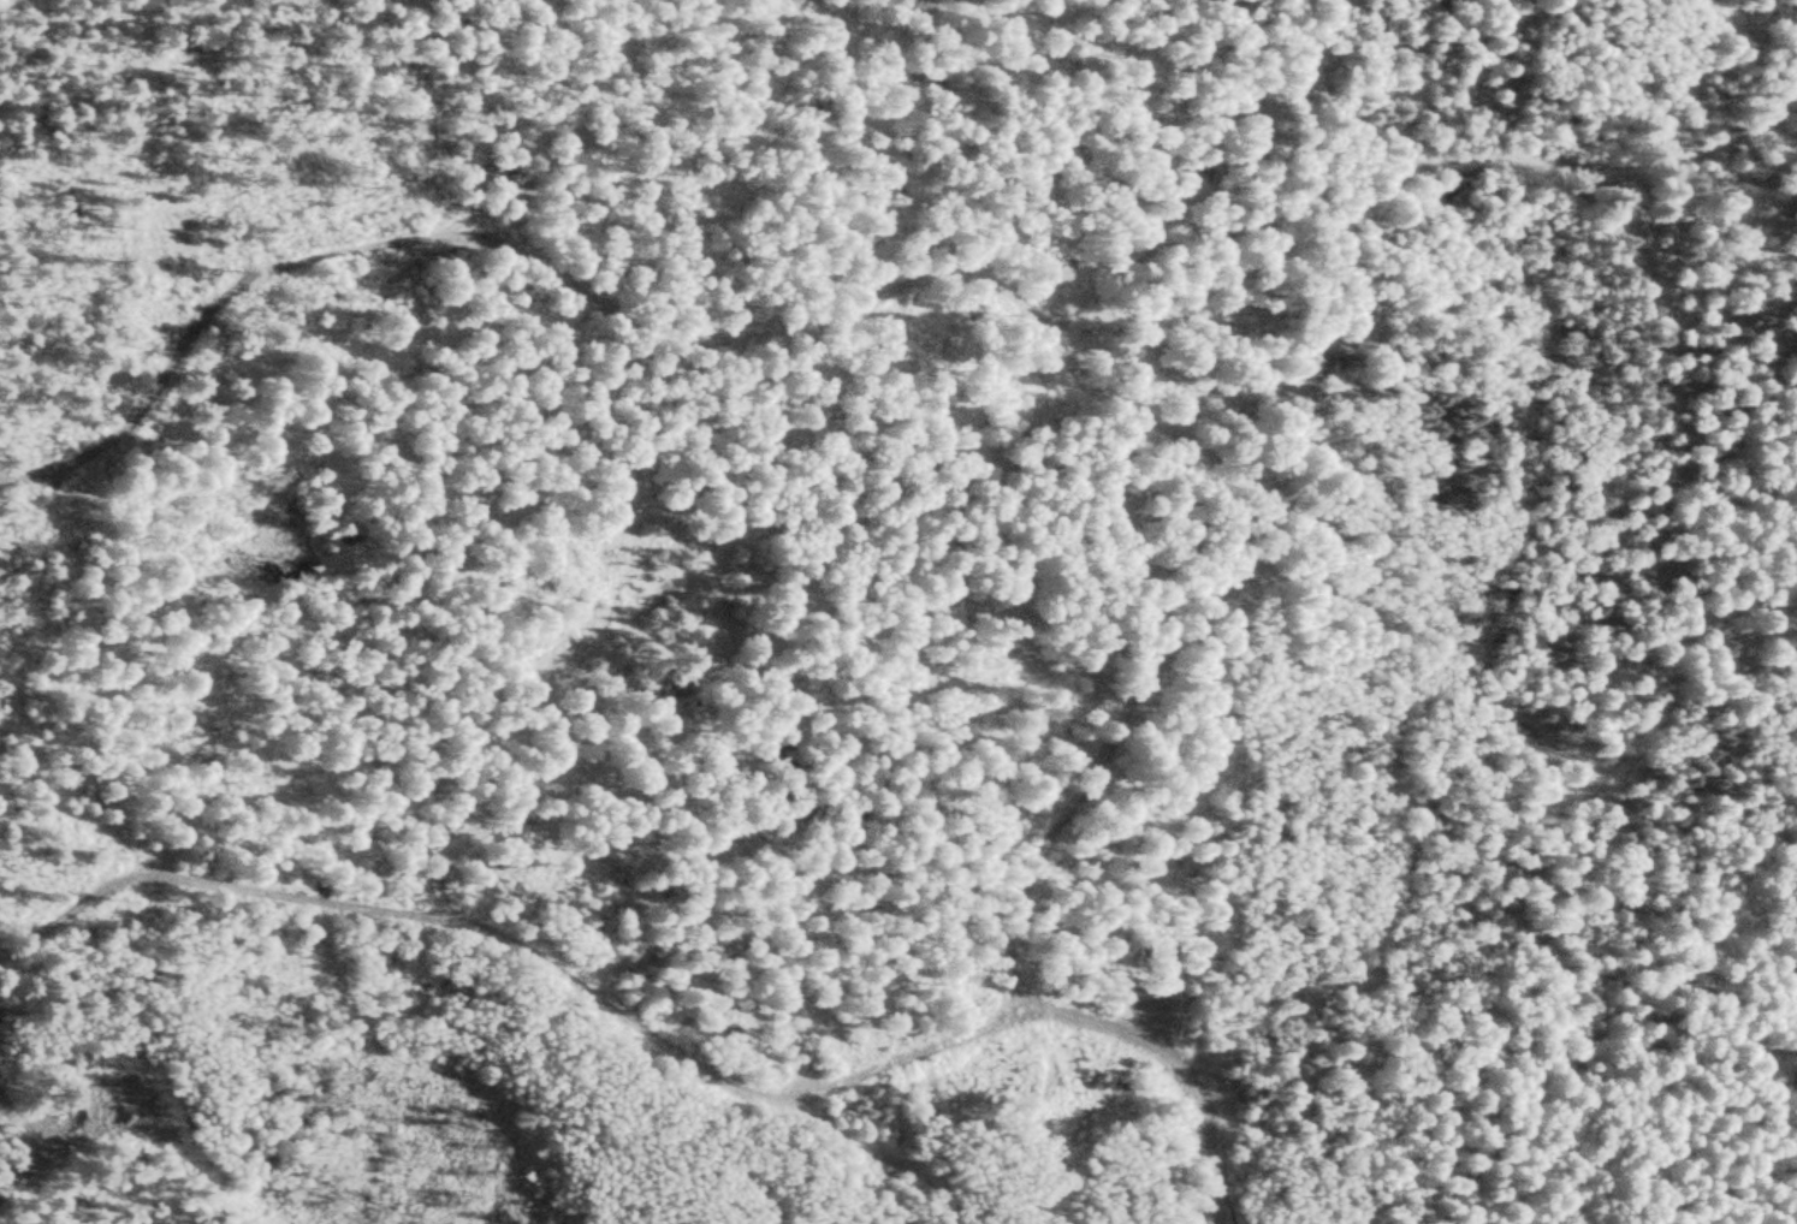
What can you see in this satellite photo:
road: (30, 1154)

